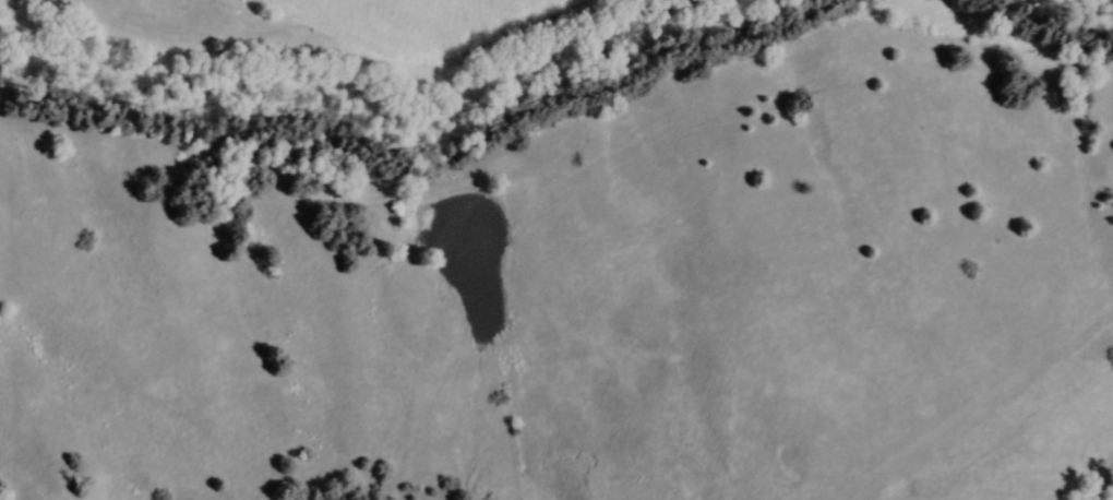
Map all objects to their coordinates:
dam: (1096, 478)

